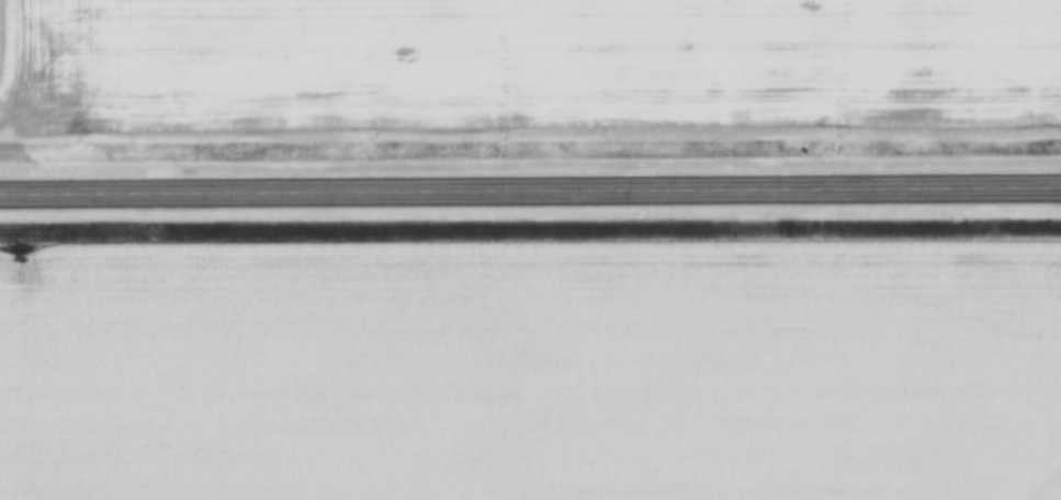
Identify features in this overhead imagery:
crop: (523, 68)
road: (530, 194)
crop: (531, 373)

